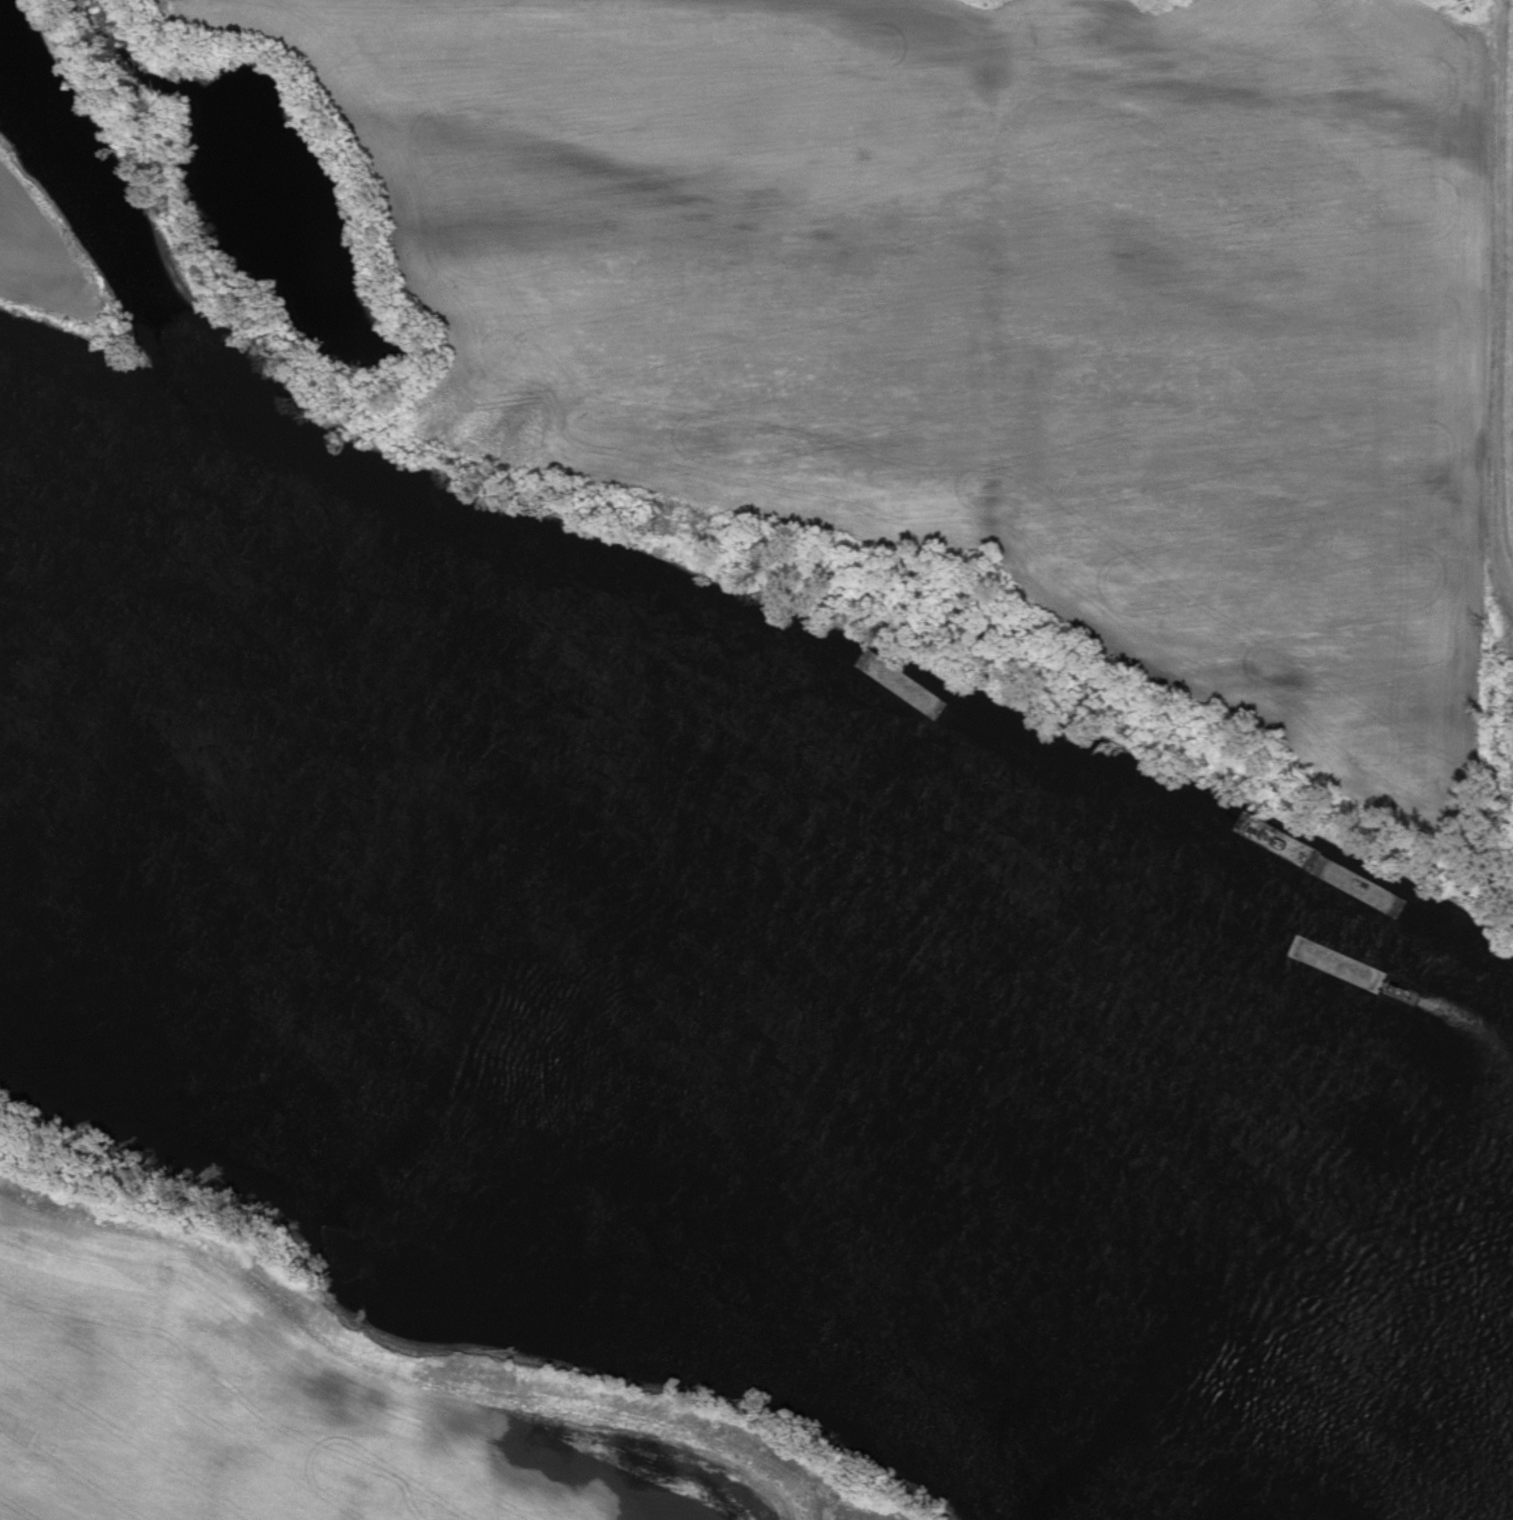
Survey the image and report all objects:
river: (232, 453)
river: (762, 1037)
crop: (317, 1404)

